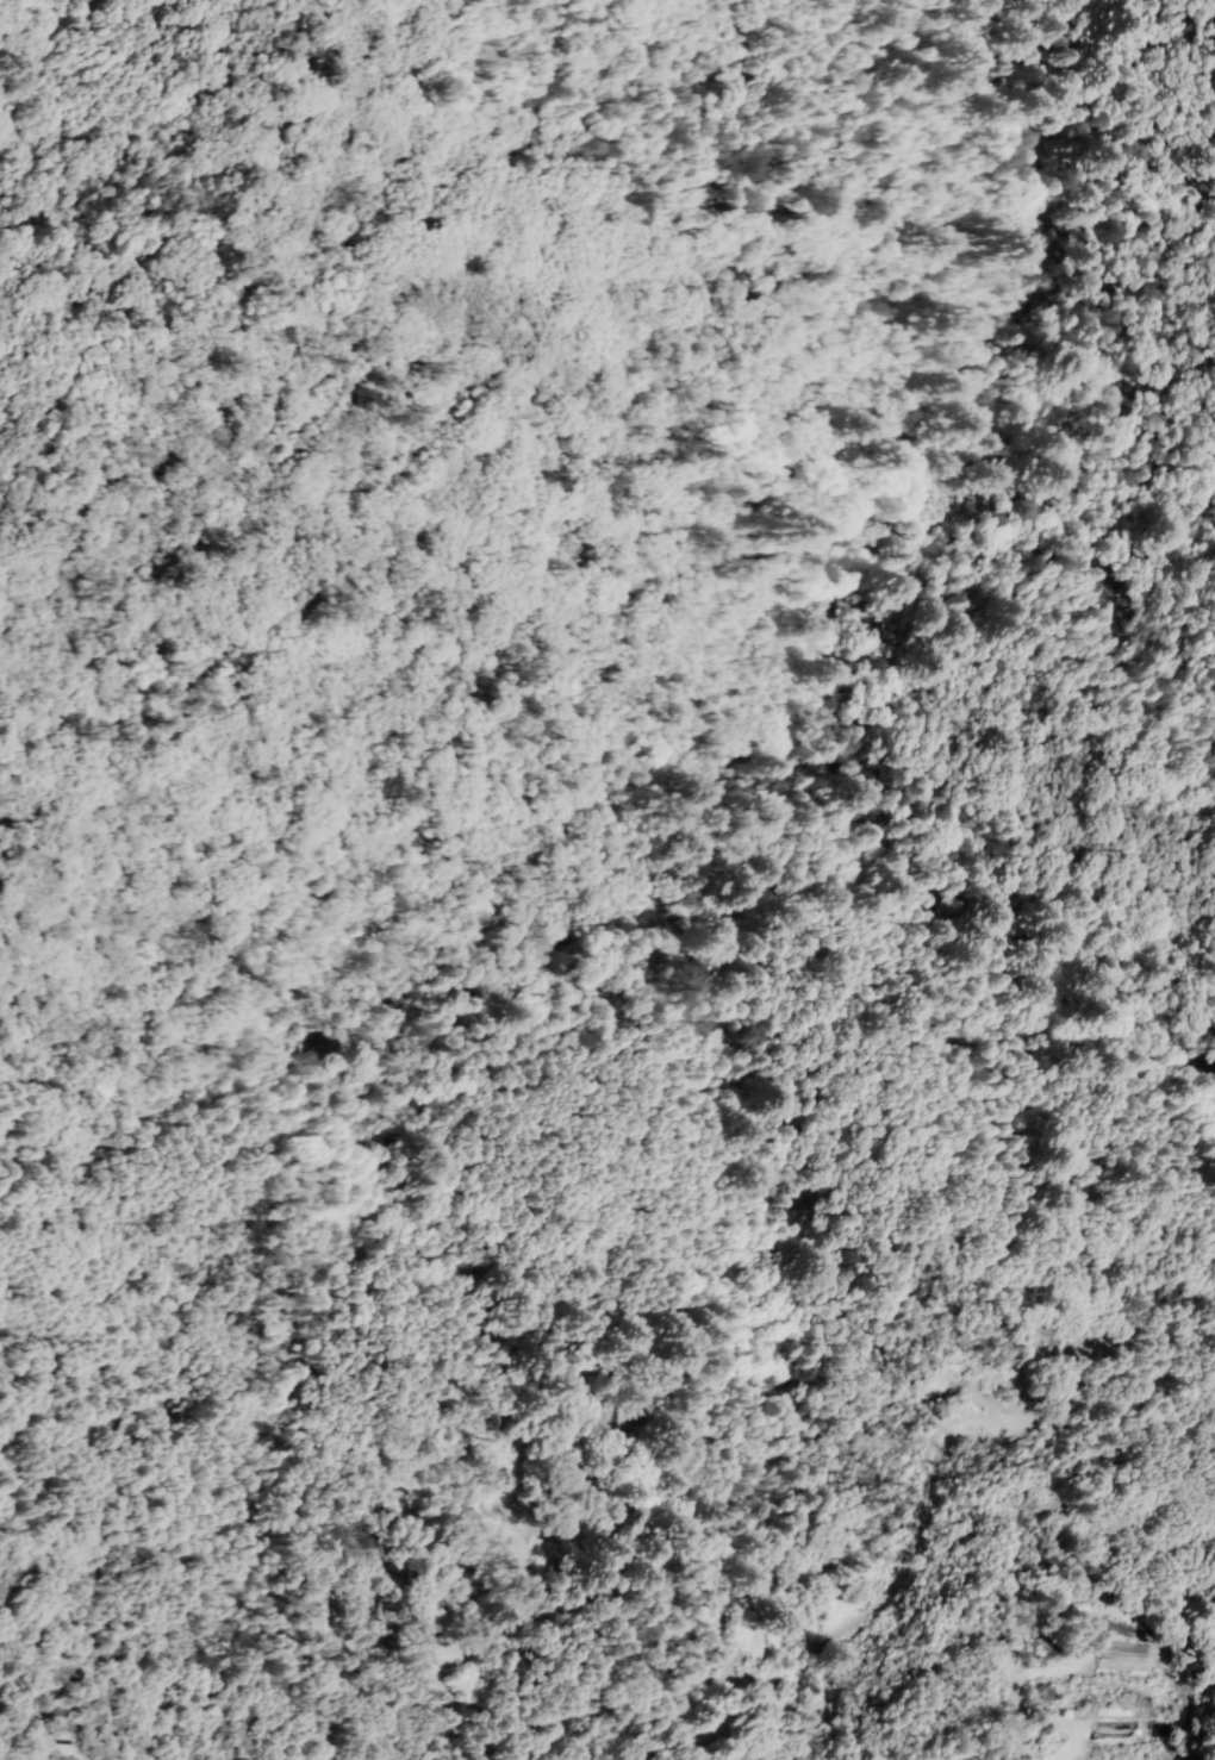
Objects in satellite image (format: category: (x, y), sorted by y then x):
road: (1068, 132)
road: (229, 325)
road: (1020, 1371)
road: (986, 1404)
road: (895, 1584)
road: (1016, 1700)
road: (46, 1758)

